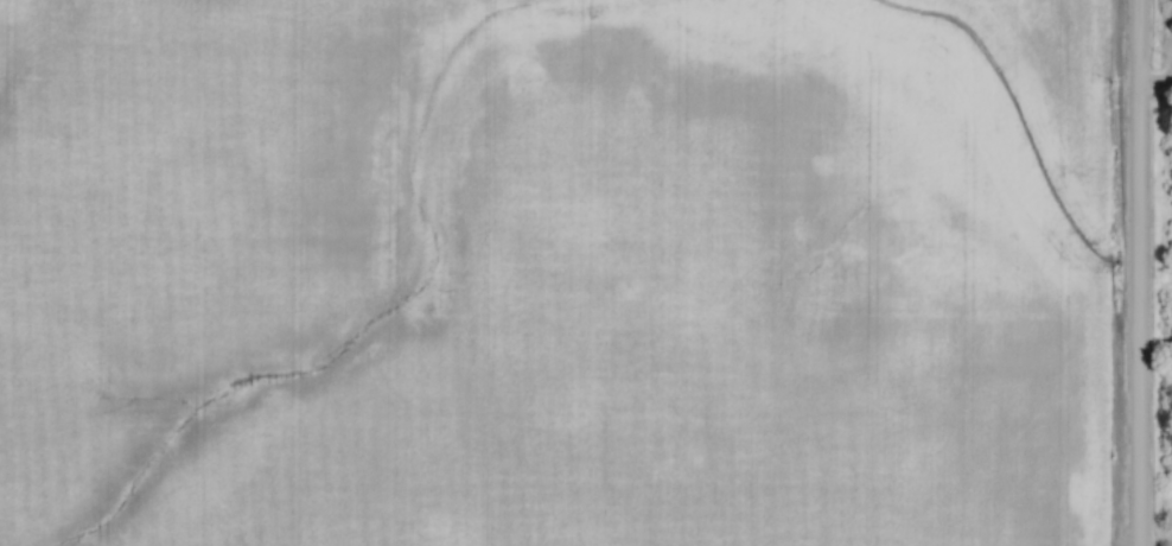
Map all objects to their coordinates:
road: (1130, 273)

